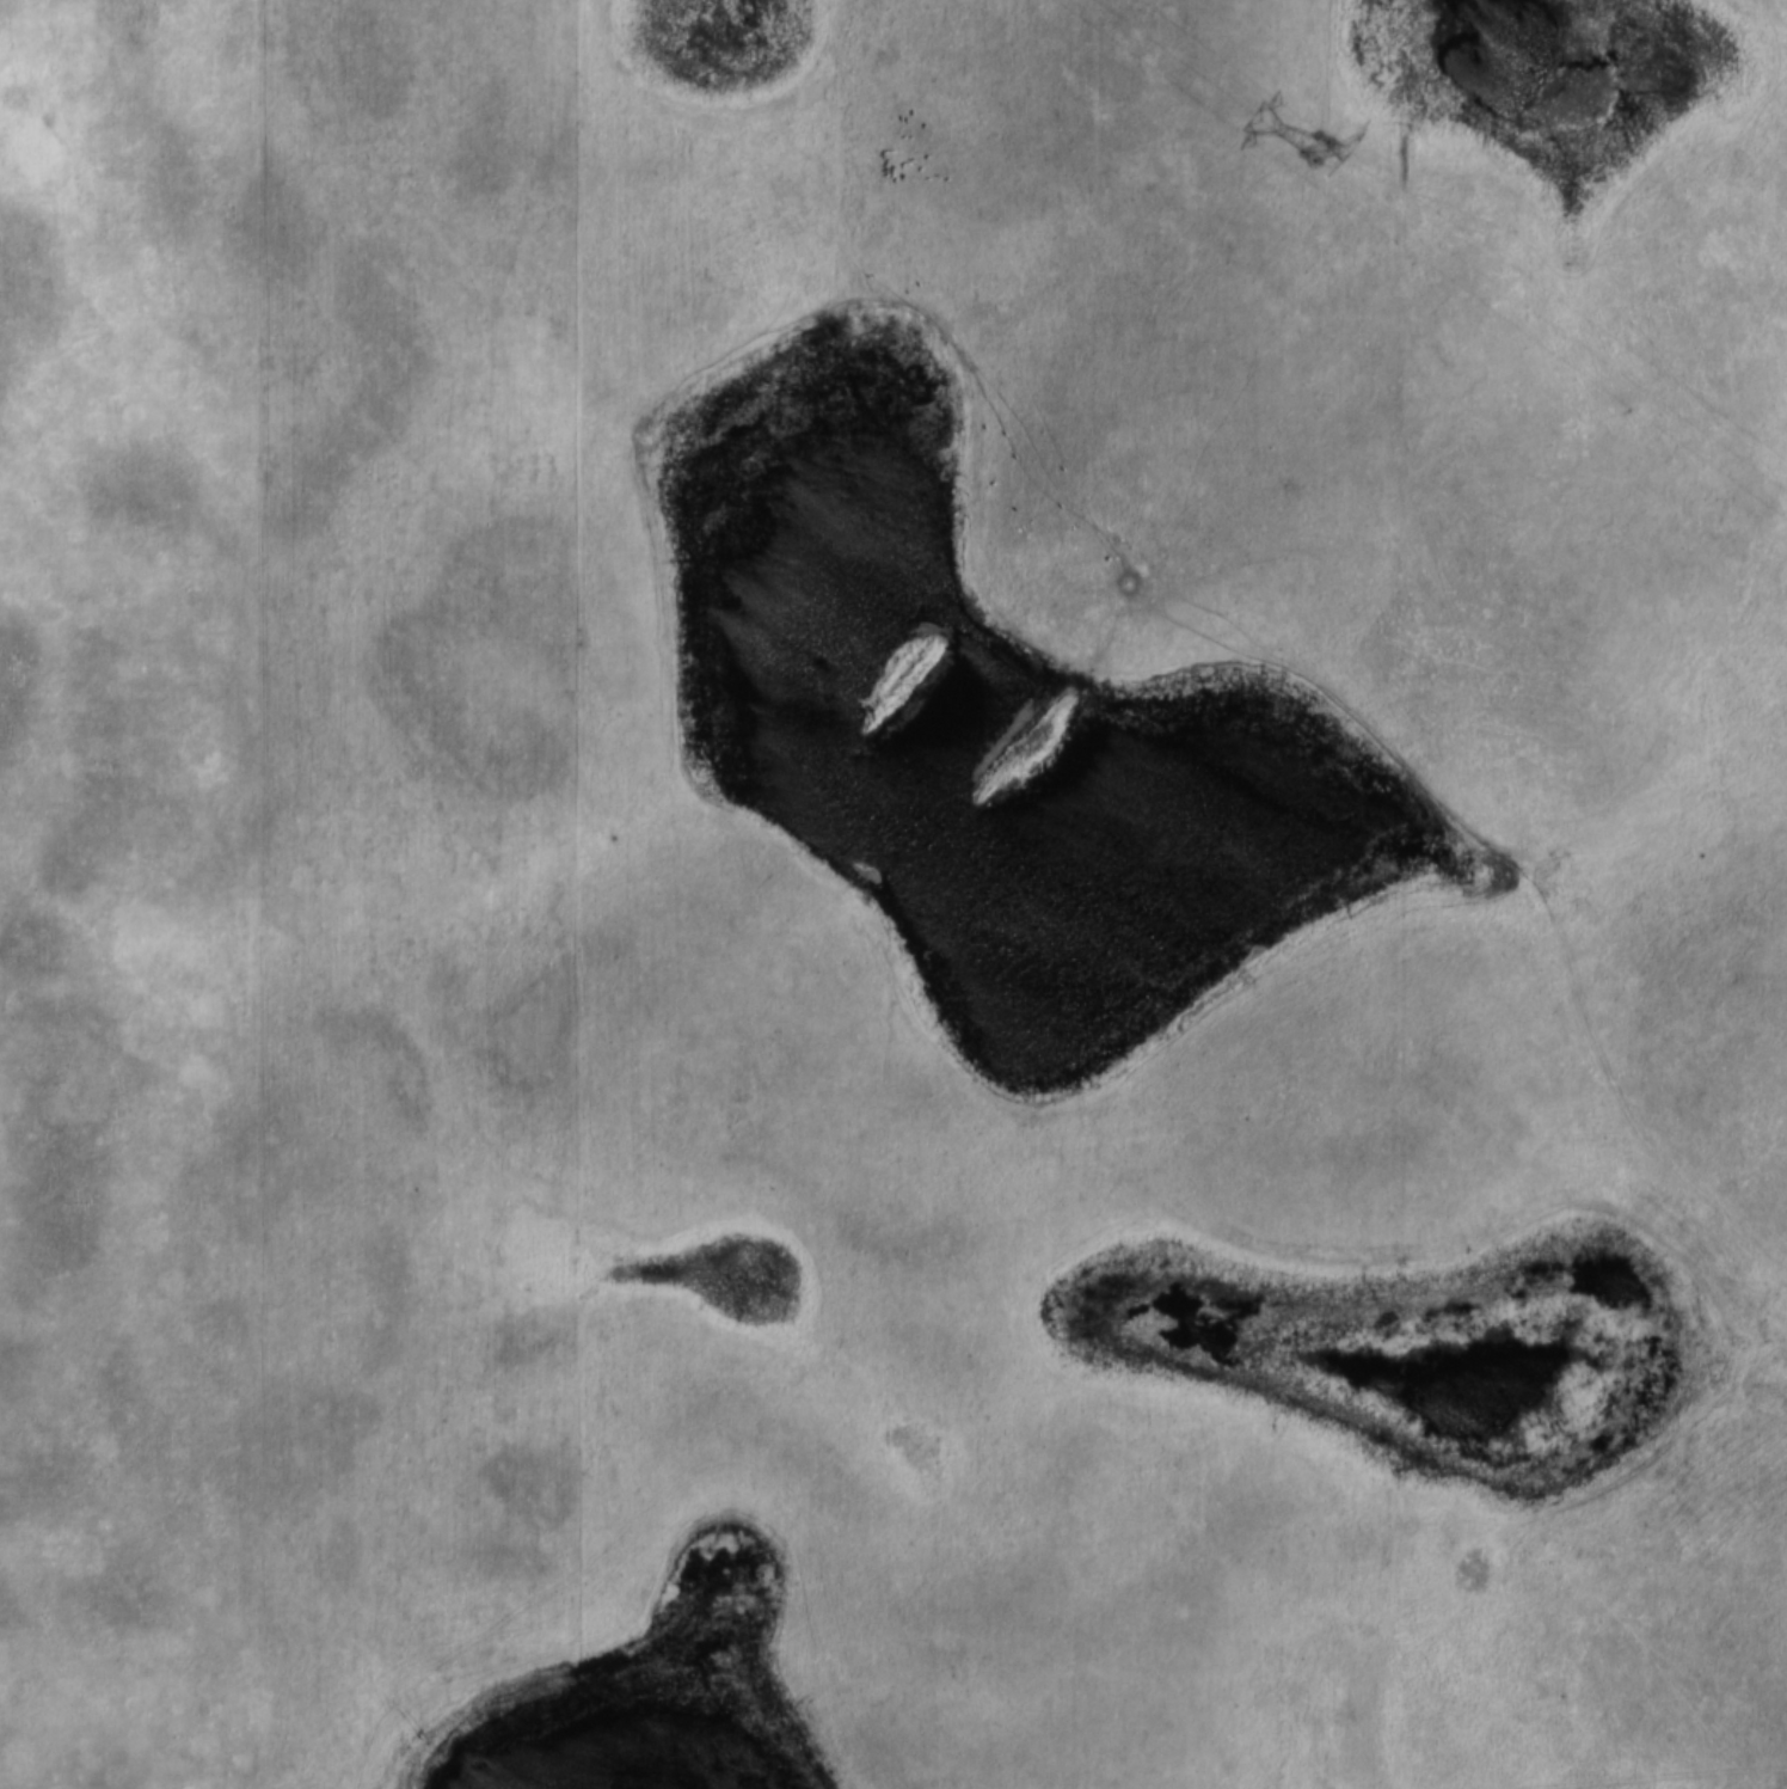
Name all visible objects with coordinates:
power tower: (1313, 147)

